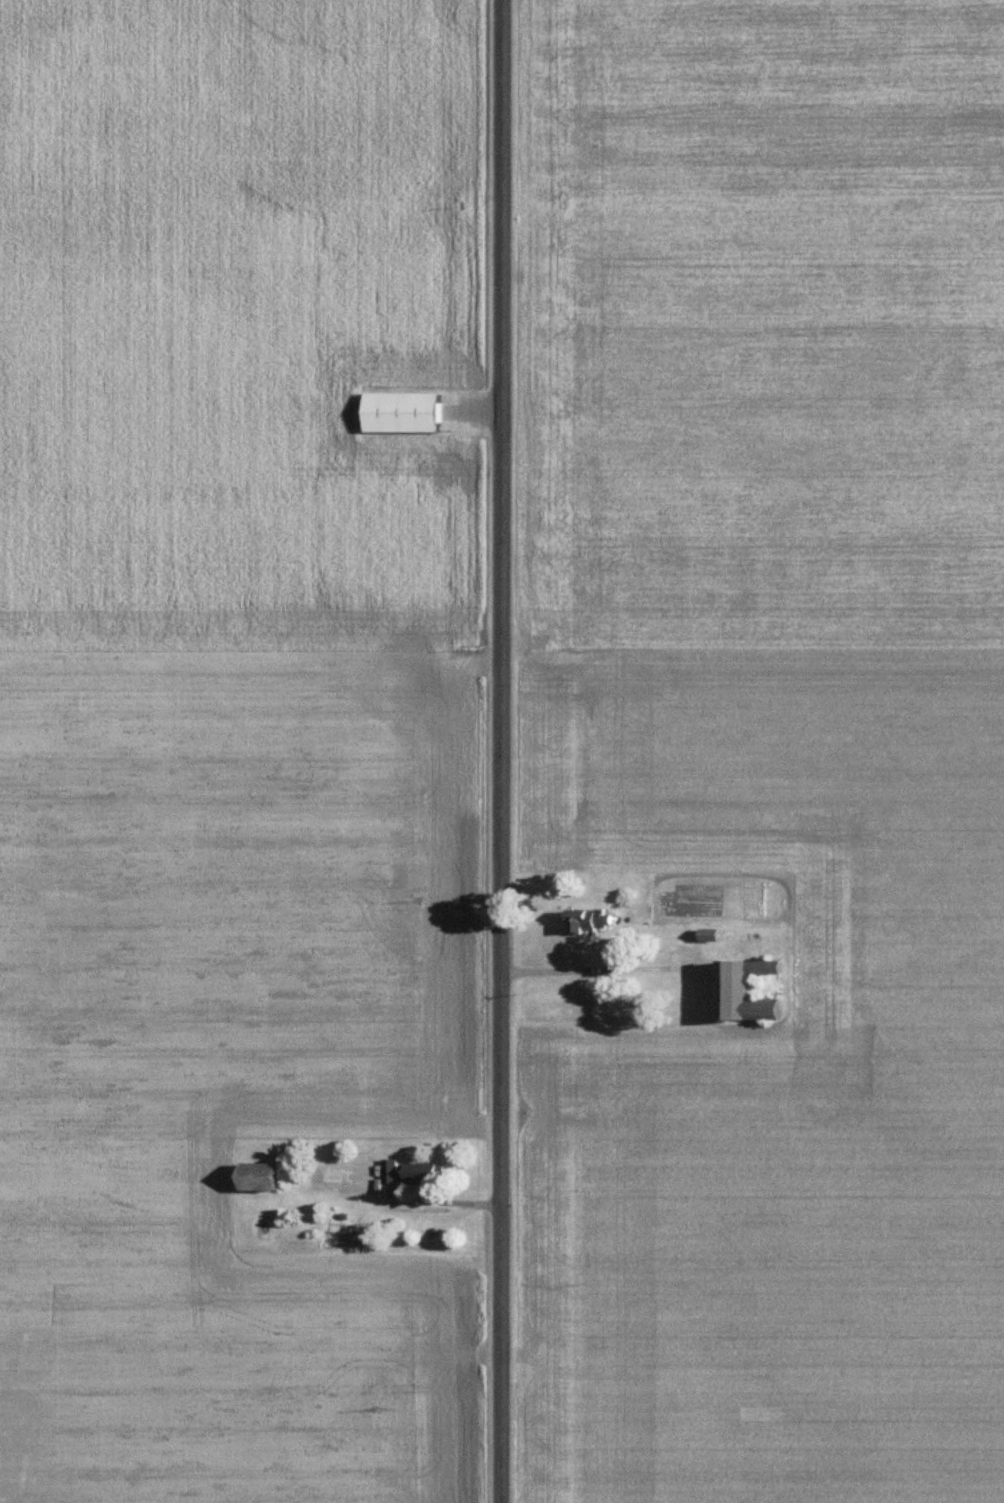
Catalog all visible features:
building: (409, 412)
road: (503, 751)
building: (597, 920)
building: (717, 935)
road: (603, 969)
building: (755, 992)
building: (416, 1172)
building: (270, 1175)

